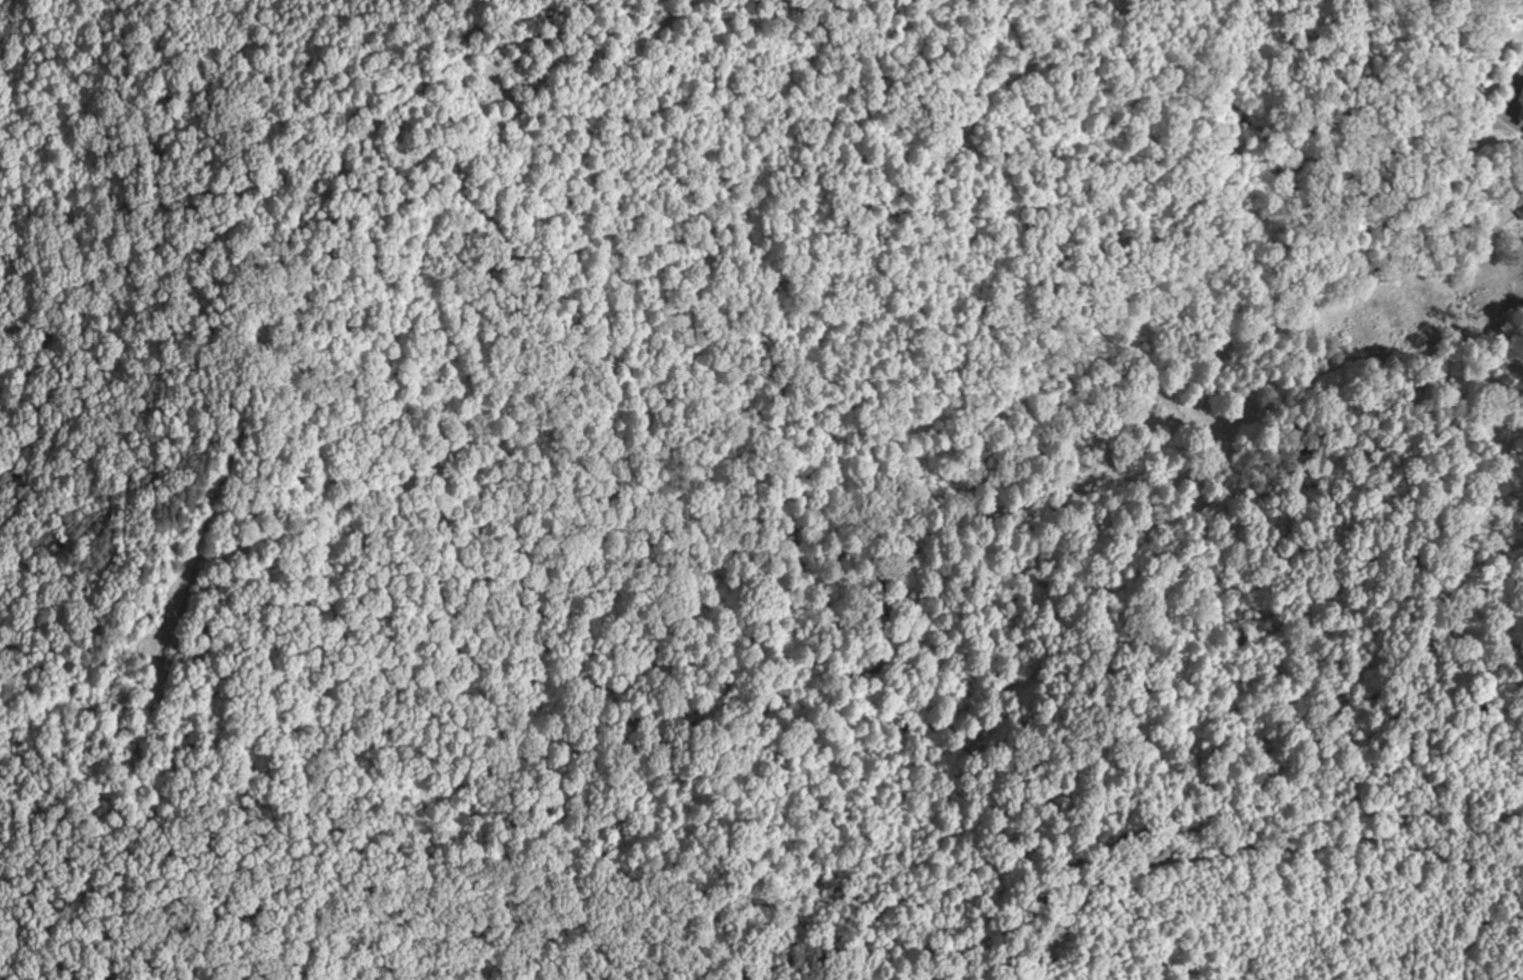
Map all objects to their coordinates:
building: (1519, 136)

